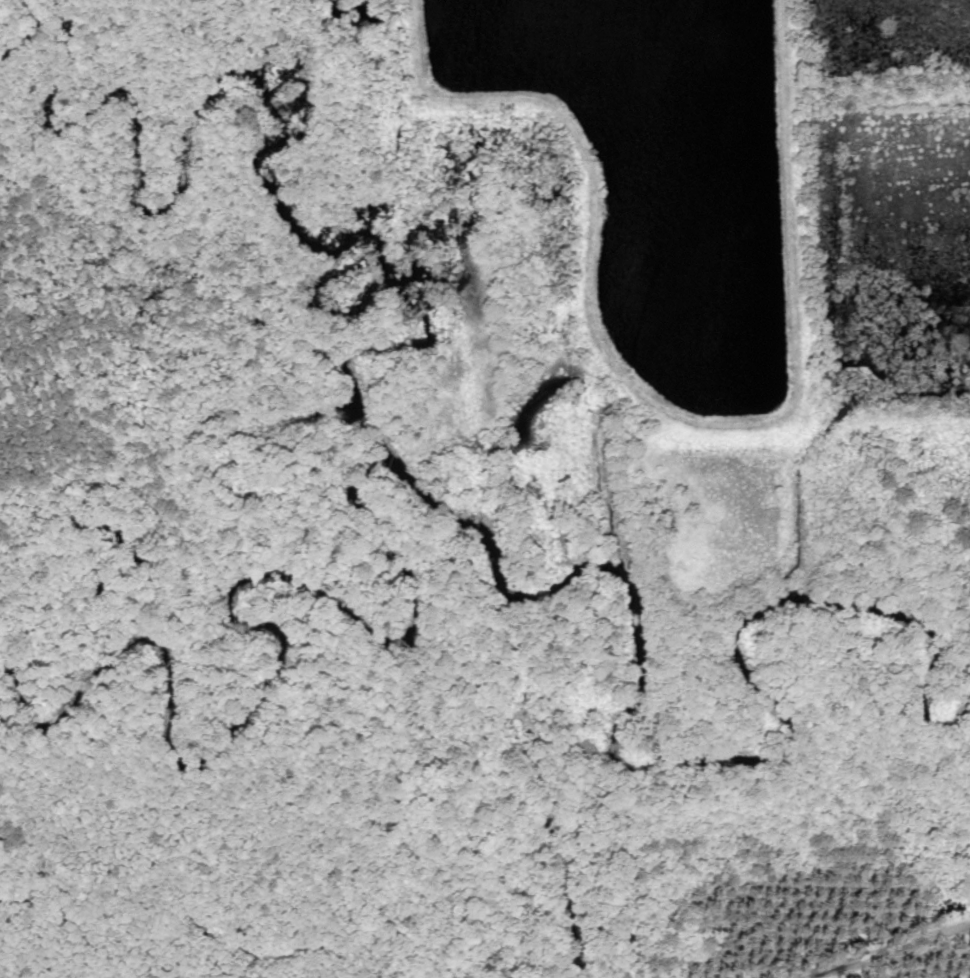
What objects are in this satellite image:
road: (965, 976)

